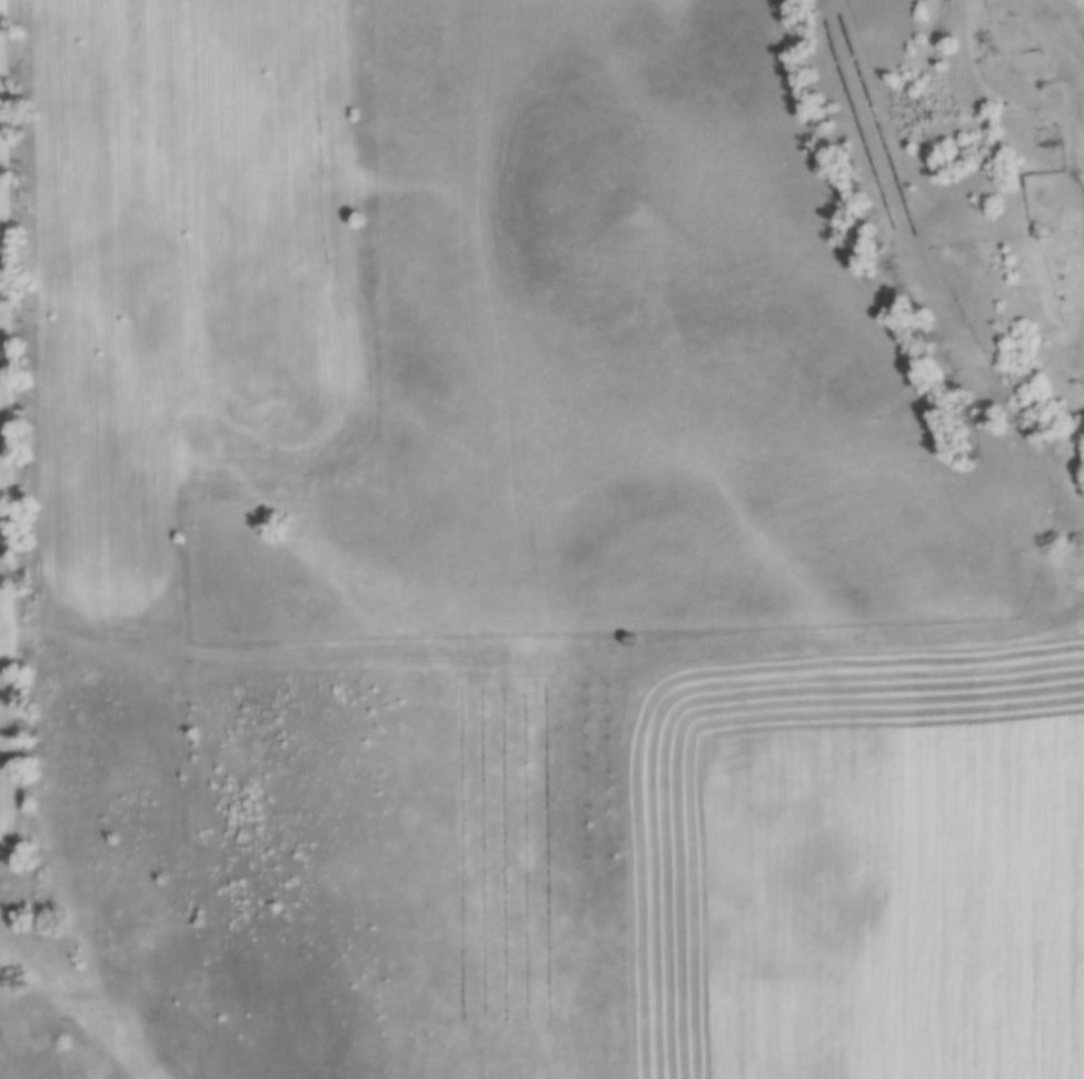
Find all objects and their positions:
road: (1066, 22)
building: (1047, 136)

